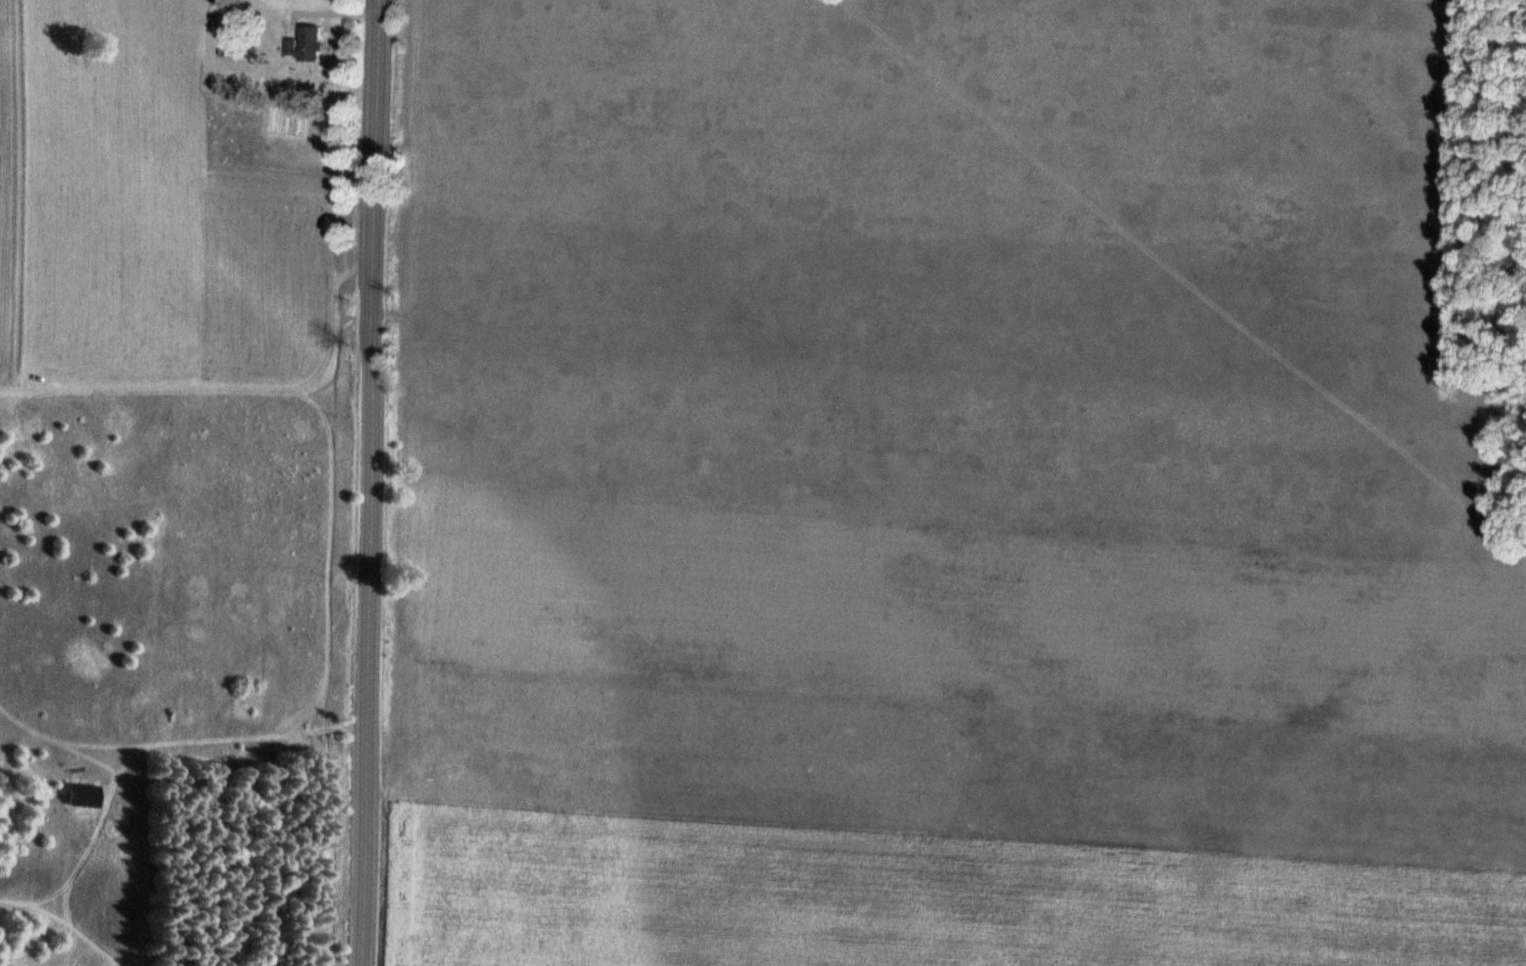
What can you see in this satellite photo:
building: (229, 41)
building: (305, 43)
road: (373, 483)
building: (82, 794)

